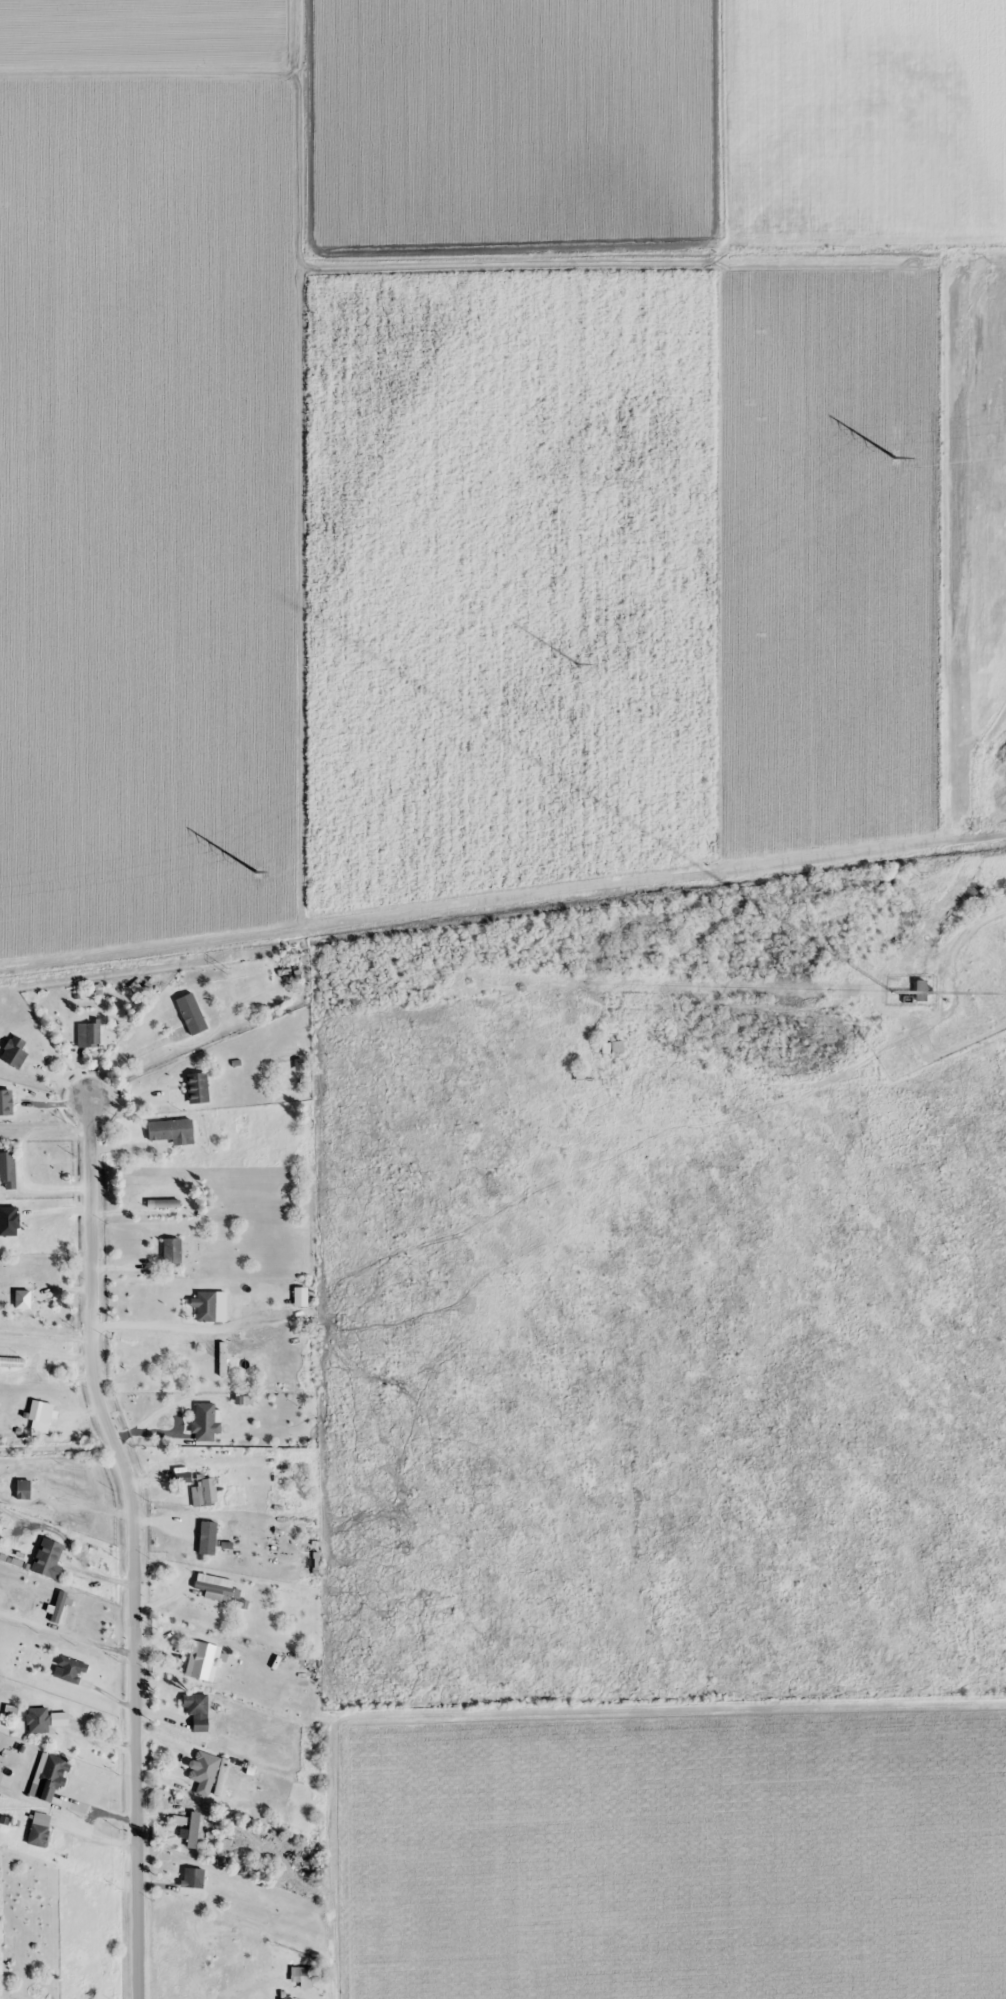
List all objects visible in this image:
power tower: (897, 454)
power tower: (578, 661)
power tower: (255, 871)
power tower: (919, 875)
power tower: (575, 924)
road: (136, 940)
power tower: (225, 971)
building: (919, 991)
building: (192, 1014)
building: (89, 1034)
building: (15, 1051)
building: (612, 1057)
building: (198, 1087)
building: (10, 1102)
building: (172, 1131)
building: (8, 1169)
building: (163, 1203)
building: (172, 1251)
building: (301, 1296)
building: (24, 1301)
building: (206, 1305)
building: (155, 1345)
building: (41, 1410)
building: (205, 1421)
road: (59, 1451)
building: (24, 1488)
road: (134, 1535)
building: (228, 1545)
building: (48, 1557)
building: (203, 1660)
building: (70, 1669)
building: (198, 1710)
building: (45, 1719)
building: (198, 1770)
building: (50, 1775)
building: (40, 1829)
building: (193, 1830)
building: (194, 1877)

